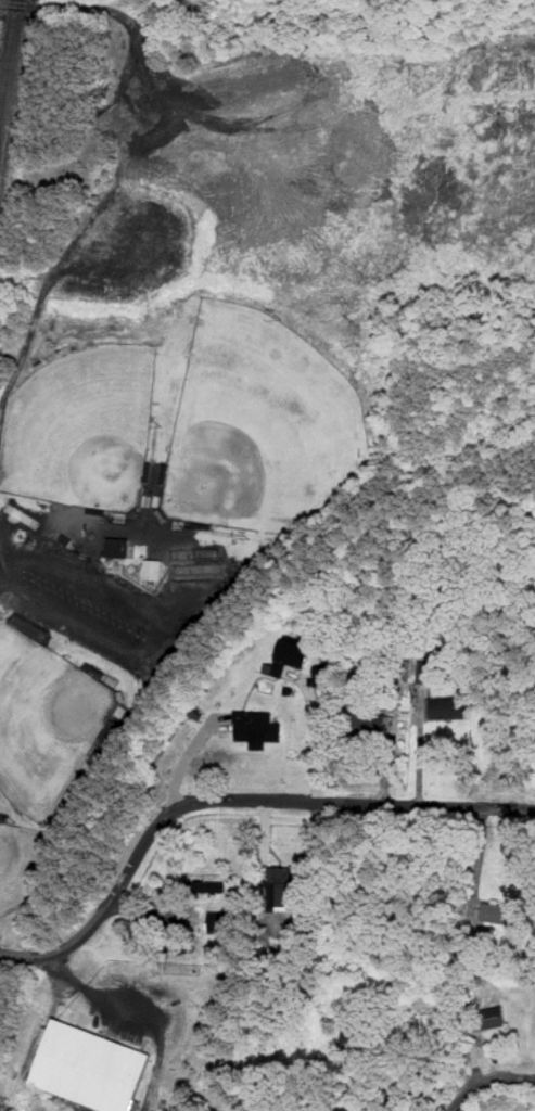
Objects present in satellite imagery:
railway: (9, 62)
road: (135, 163)
street lamp: (285, 319)
street lamp: (127, 329)
street lamp: (60, 346)
street lamp: (3, 388)
street lamp: (162, 424)
park: (263, 425)
park: (82, 427)
street lamp: (379, 464)
street lamp: (53, 510)
street lamp: (113, 521)
street lamp: (187, 529)
street lamp: (254, 538)
building: (67, 539)
building: (118, 546)
road: (5, 548)
road: (5, 564)
building: (154, 569)
street lamp: (1, 613)
road: (163, 643)
building: (291, 656)
building: (426, 672)
street lamp: (107, 674)
building: (321, 678)
building: (449, 707)
building: (368, 723)
park: (47, 724)
street lamp: (122, 727)
building: (259, 727)
road: (231, 803)
street lamp: (17, 821)
street lamp: (53, 833)
park: (23, 863)
building: (283, 881)
building: (211, 885)
building: (171, 908)
building: (502, 912)
building: (306, 920)
building: (221, 921)
building: (176, 944)
road: (66, 971)
road: (119, 1003)
building: (491, 1017)
building: (92, 1067)
road: (488, 1084)
building: (373, 1108)

